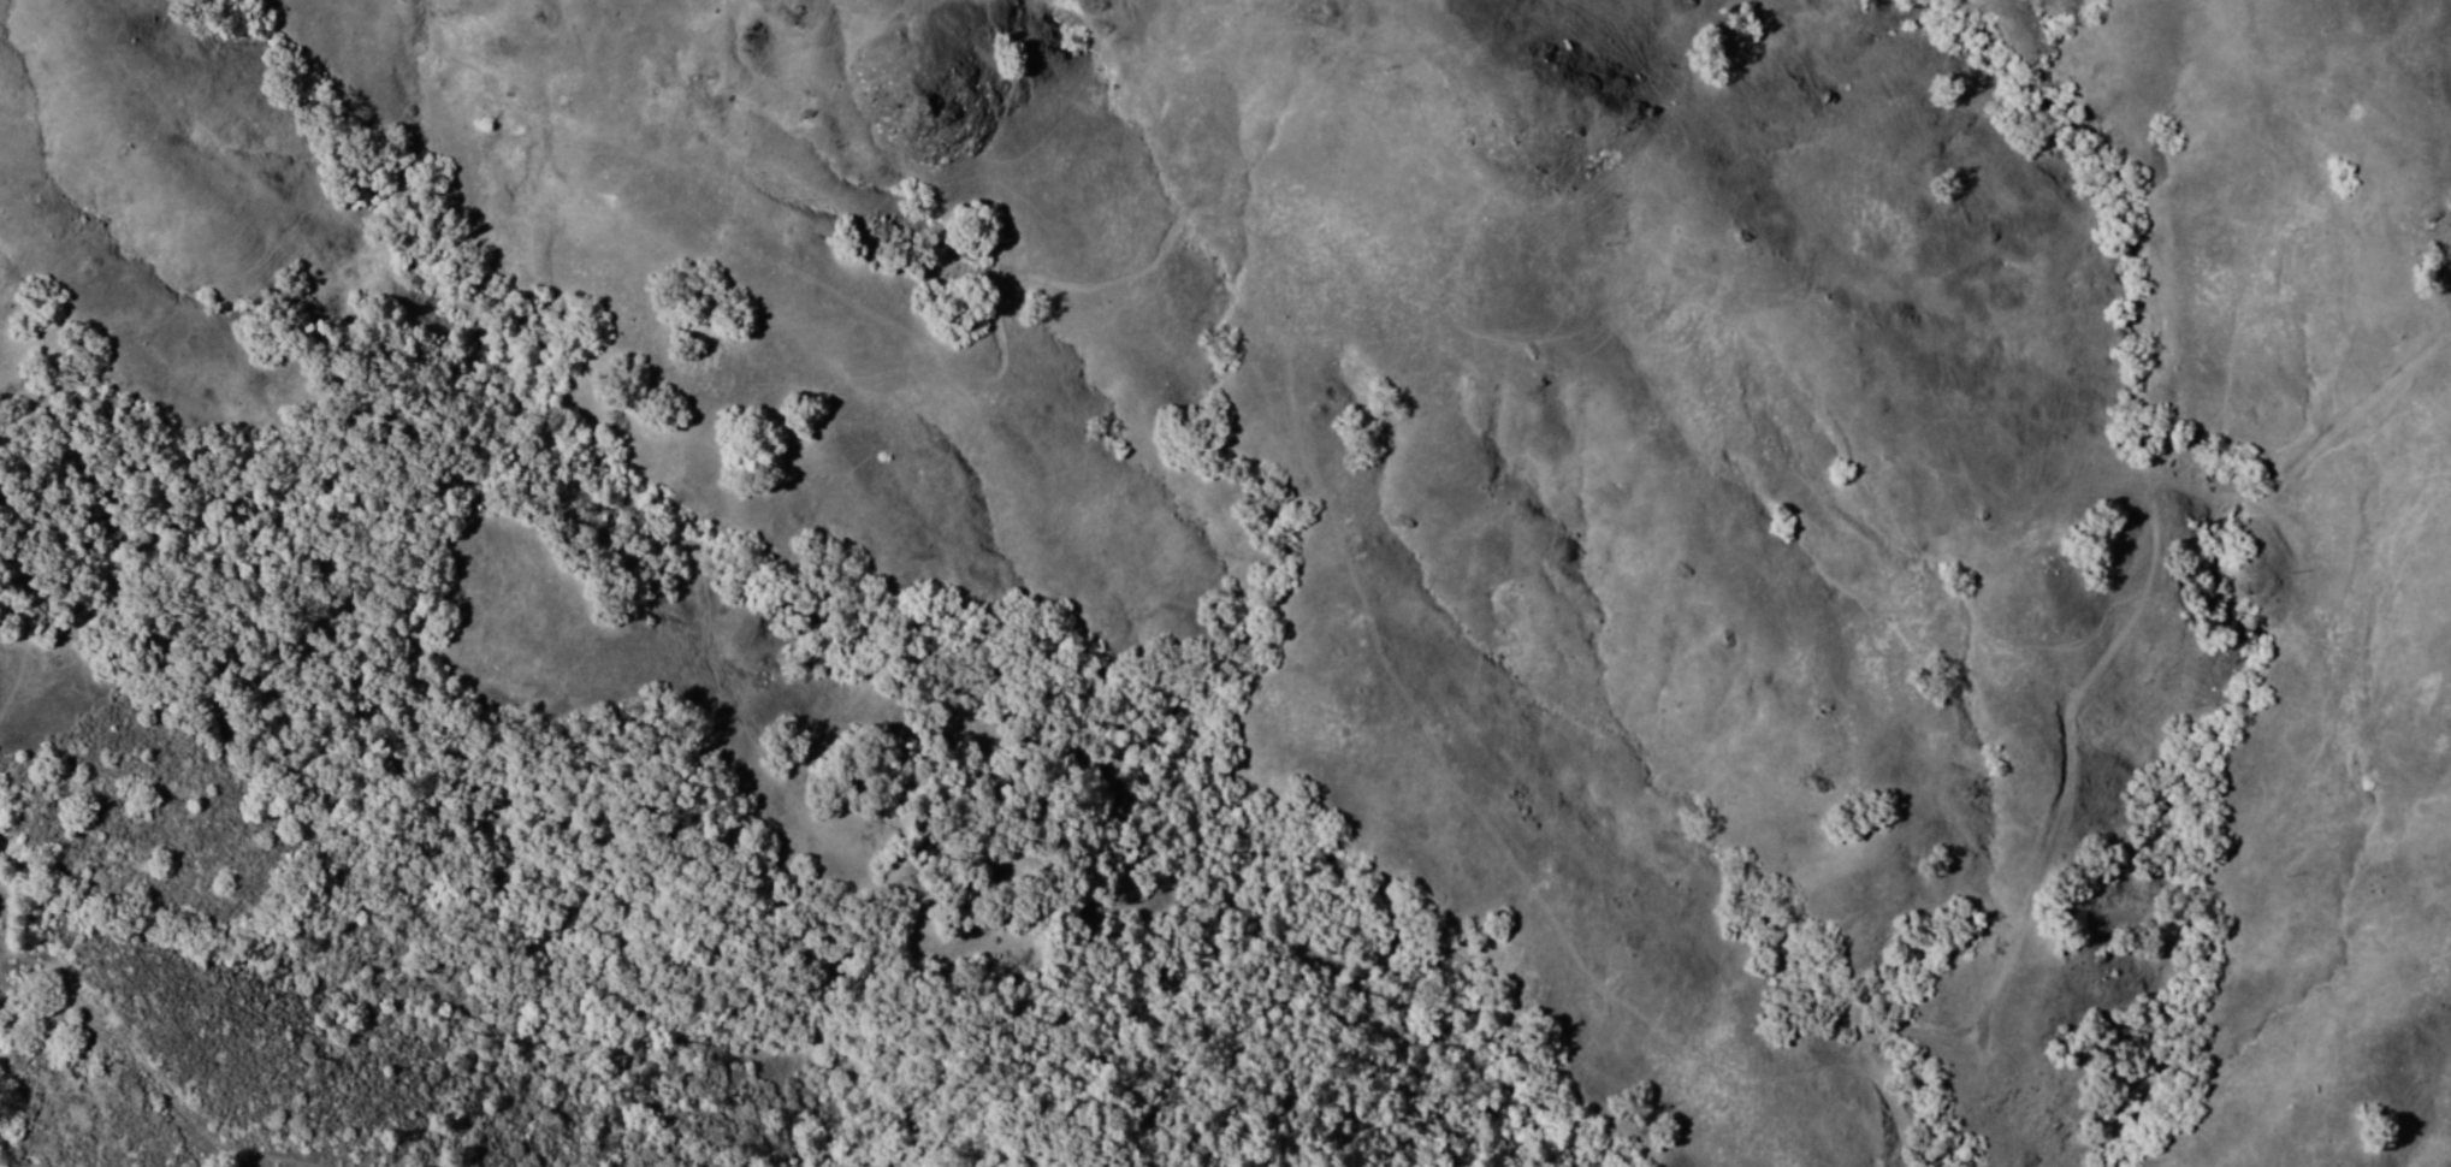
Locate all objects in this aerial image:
road: (2008, 973)

